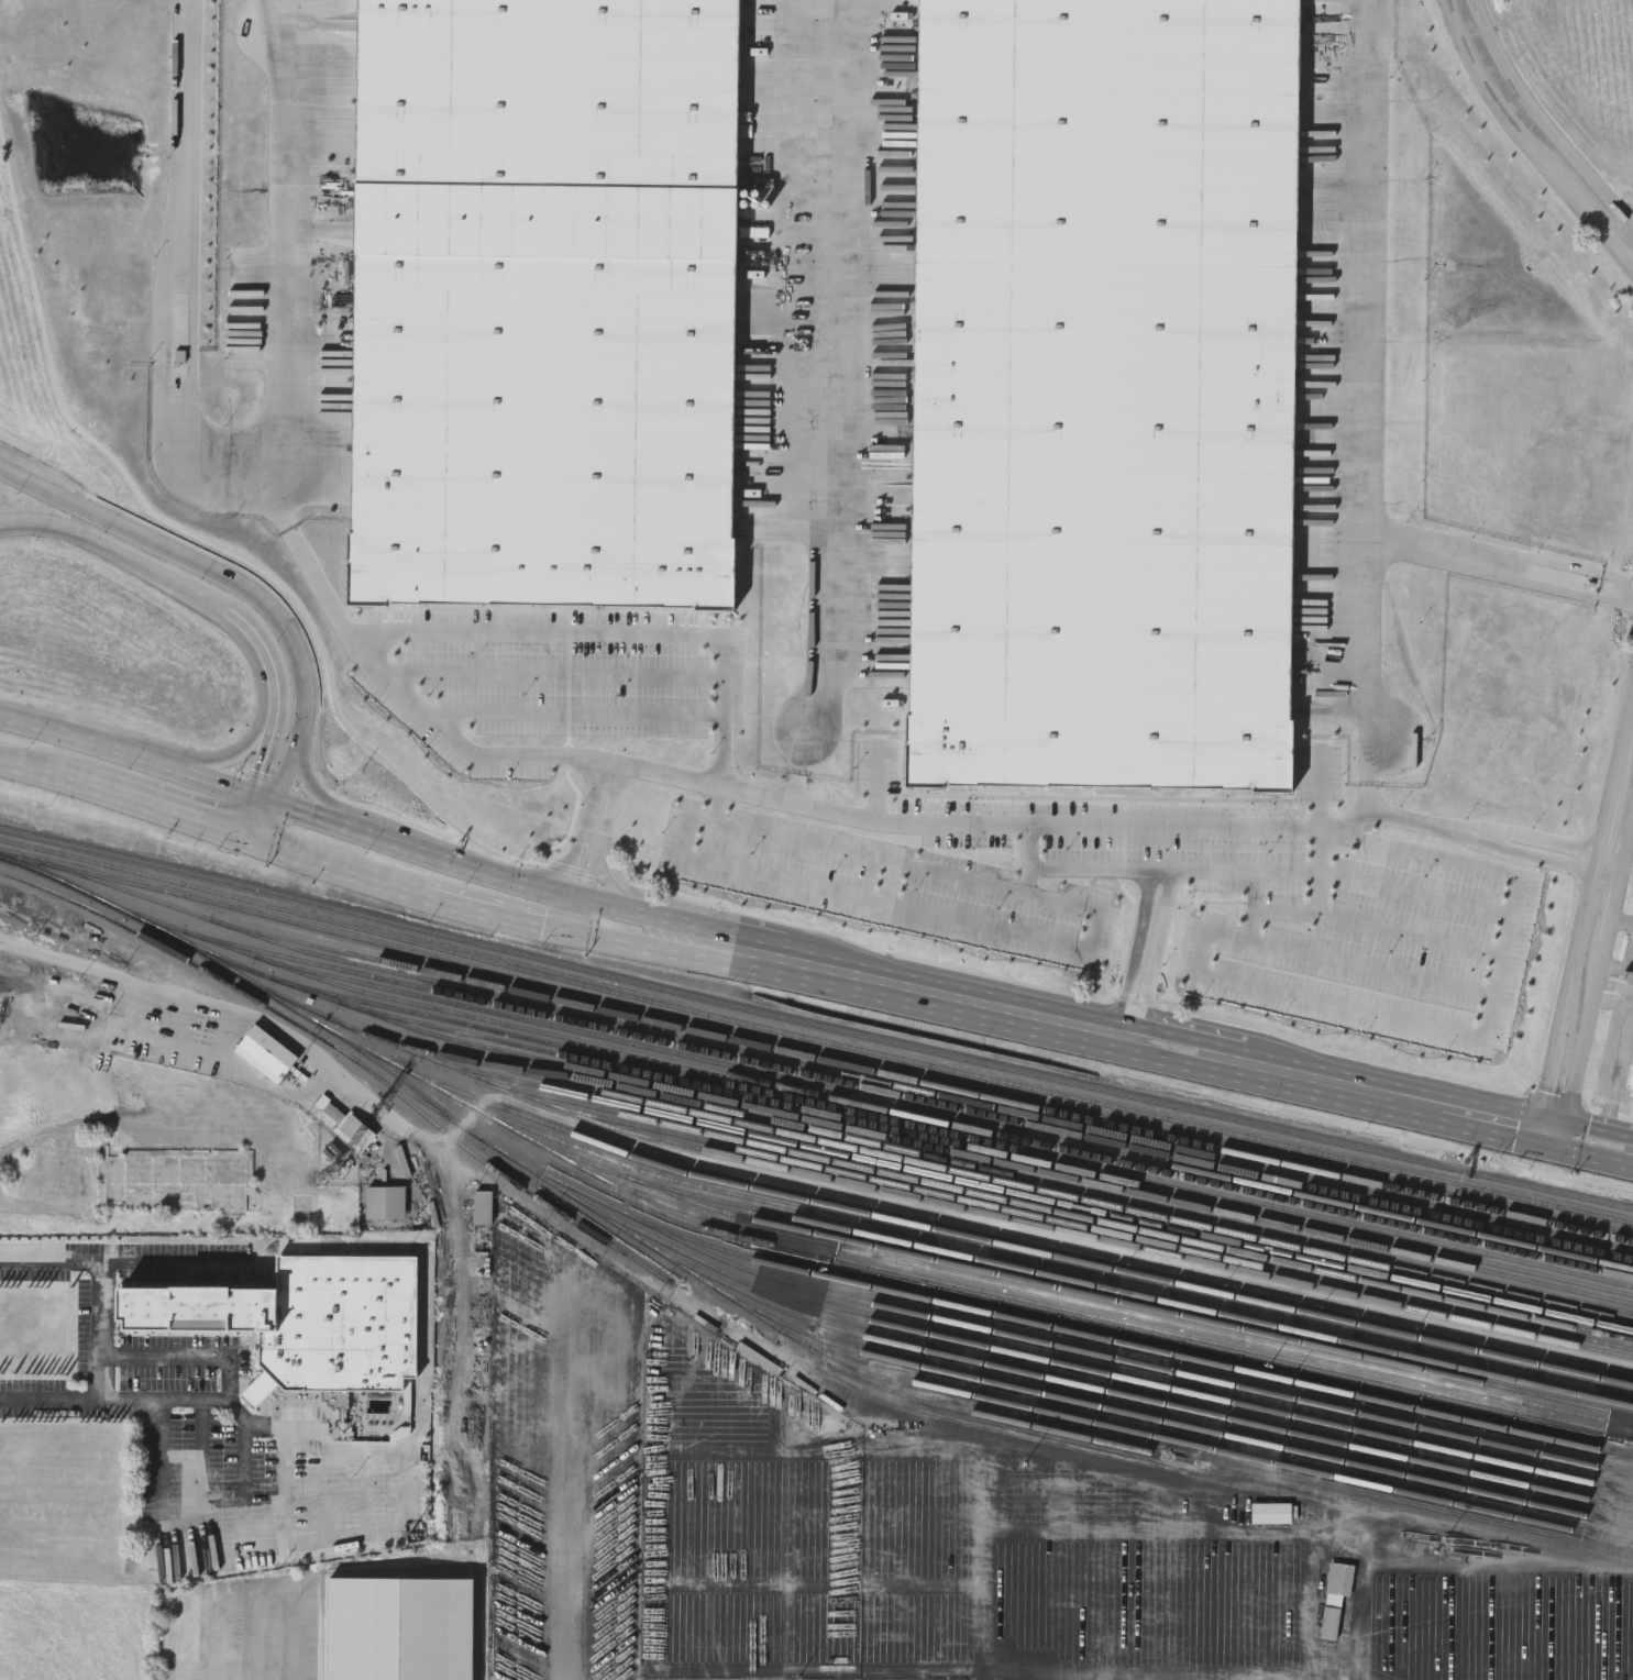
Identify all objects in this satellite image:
building: (1326, 24)
road: (1494, 99)
road: (1544, 118)
road: (1597, 223)
road: (1631, 261)
road: (1631, 264)
road: (180, 277)
building: (545, 303)
building: (1104, 393)
road: (835, 402)
building: (879, 445)
road: (59, 489)
road: (121, 543)
road: (1431, 549)
road: (1498, 561)
road: (1632, 597)
road: (261, 606)
road: (560, 632)
road: (264, 654)
road: (609, 676)
road: (580, 716)
road: (1623, 750)
road: (267, 751)
road: (128, 752)
road: (231, 752)
traffic signals: (265, 759)
road: (27, 771)
road: (291, 781)
road: (313, 794)
road: (269, 798)
road: (608, 798)
road: (147, 806)
road: (721, 806)
traffic signals: (304, 811)
road: (246, 814)
road: (1427, 821)
road: (902, 824)
road: (277, 825)
traffic signals: (208, 826)
road: (1607, 828)
road: (581, 837)
road: (1547, 838)
road: (255, 840)
road: (1628, 847)
road: (1541, 858)
road: (1611, 866)
road: (593, 867)
road: (1628, 870)
road: (1151, 871)
road: (486, 872)
road: (1317, 873)
road: (763, 877)
traffic signals: (520, 882)
road: (891, 885)
road: (1414, 896)
traffic signals: (586, 898)
road: (1614, 906)
road: (477, 910)
road: (722, 914)
road: (582, 917)
railway: (206, 918)
building: (1530, 918)
road: (1622, 921)
road: (1365, 925)
traffic signals: (577, 936)
railway: (176, 937)
road: (1580, 940)
railway: (158, 943)
road: (726, 946)
road: (1132, 952)
railway: (247, 954)
road: (1154, 955)
road: (1326, 960)
railway: (262, 975)
building: (1470, 987)
road: (922, 990)
building: (91, 997)
road: (195, 998)
railway: (289, 999)
building: (90, 1003)
road: (1488, 1014)
railway: (815, 1026)
road: (1107, 1032)
railway: (814, 1039)
road: (1585, 1039)
railway: (327, 1041)
railway: (815, 1048)
building: (265, 1051)
road: (1622, 1057)
railway: (530, 1070)
road: (1549, 1074)
road: (1304, 1077)
building: (1630, 1079)
railway: (933, 1085)
railway: (405, 1090)
railway: (917, 1098)
railway: (995, 1108)
railway: (949, 1115)
railway: (430, 1118)
building: (349, 1121)
road: (1519, 1126)
traffic signals: (1537, 1130)
railway: (959, 1136)
traffic signals: (1565, 1136)
railway: (1011, 1139)
railway: (485, 1140)
road: (1599, 1143)
railway: (986, 1150)
railway: (985, 1159)
building: (176, 1178)
railway: (1014, 1184)
railway: (1103, 1195)
railway: (1040, 1197)
building: (385, 1200)
building: (483, 1205)
railway: (979, 1211)
railway: (1070, 1213)
railway: (1097, 1227)
railway: (592, 1233)
railway: (642, 1233)
railway: (979, 1239)
railway: (1048, 1265)
railway: (728, 1286)
railway: (990, 1292)
railway: (1079, 1293)
railway: (1138, 1296)
railway: (1111, 1311)
building: (308, 1320)
road: (432, 1341)
railway: (1135, 1346)
road: (144, 1353)
railway: (1133, 1361)
road: (103, 1377)
railway: (1163, 1386)
railway: (1053, 1413)
railway: (1211, 1415)
railway: (989, 1417)
building: (795, 1418)
railway: (1180, 1425)
road: (1102, 1463)
road: (584, 1486)
building: (1271, 1512)
road: (1498, 1534)
road: (247, 1546)
building: (1336, 1596)
building: (175, 1601)
building: (400, 1628)

